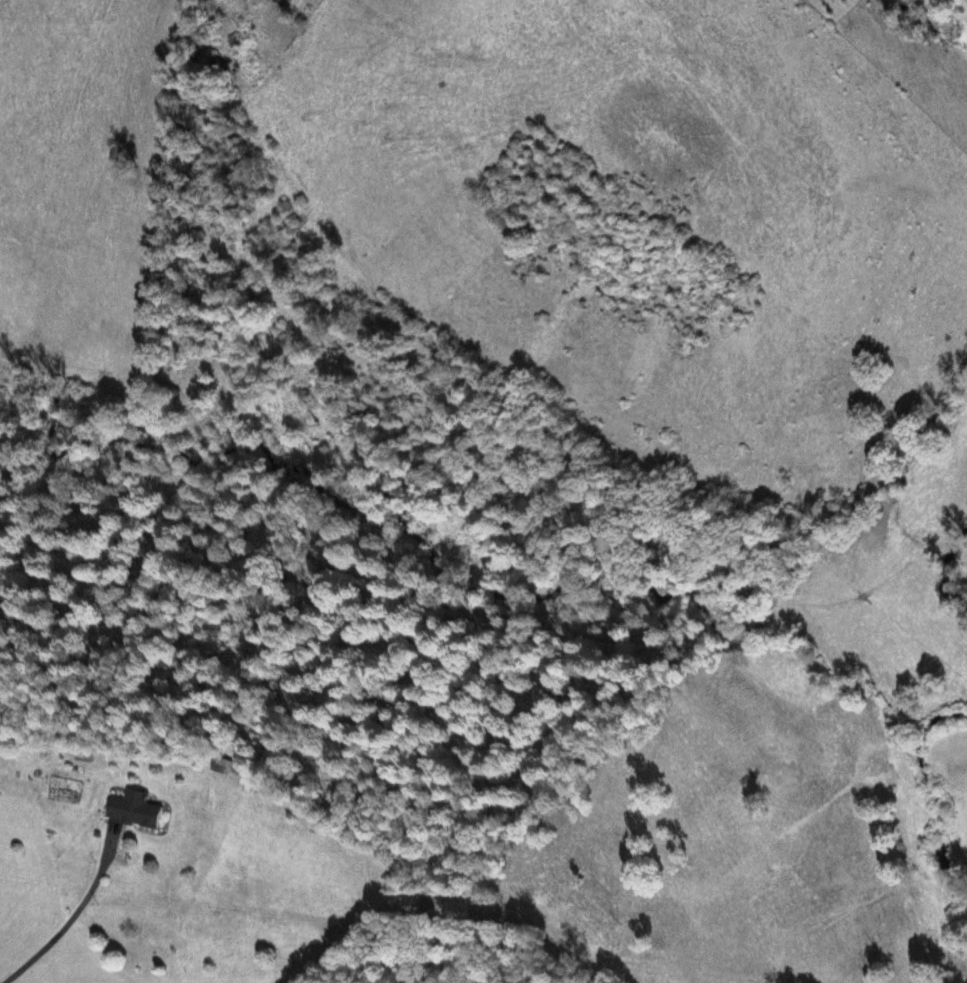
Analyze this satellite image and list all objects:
building: (243, 49)
building: (223, 764)
building: (134, 811)

